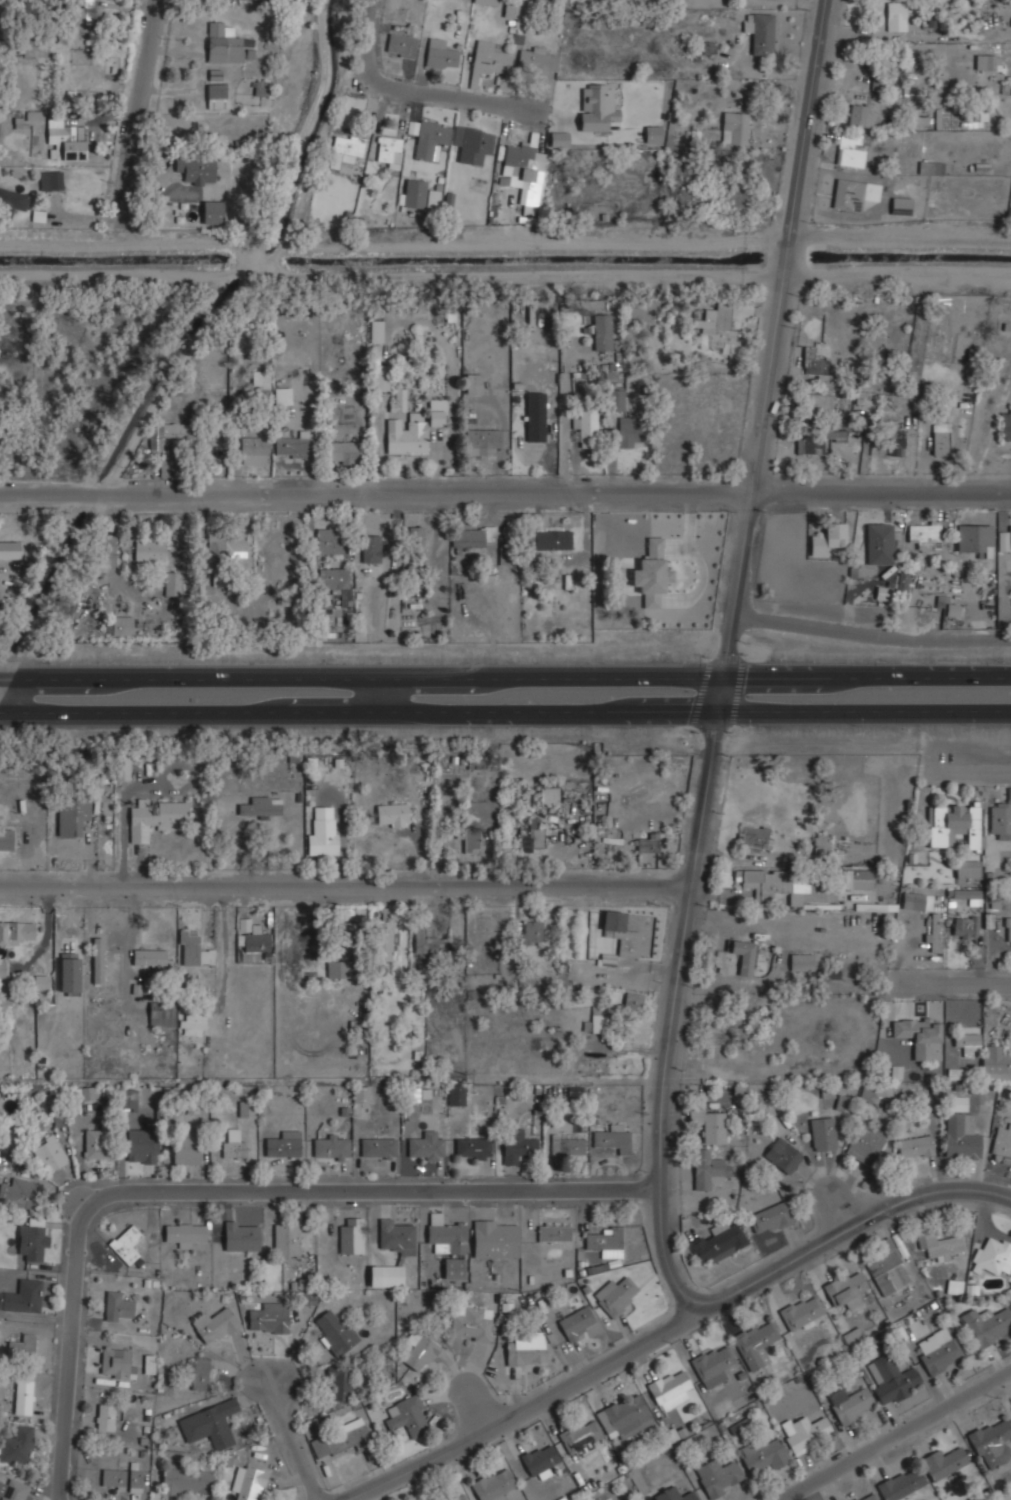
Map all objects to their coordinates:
building: (487, 1)
building: (509, 8)
building: (895, 15)
building: (79, 16)
building: (759, 31)
building: (225, 42)
building: (401, 44)
building: (440, 53)
building: (490, 58)
building: (537, 60)
building: (987, 61)
building: (260, 87)
road: (409, 90)
building: (216, 94)
building: (596, 106)
road: (142, 110)
building: (859, 114)
building: (734, 126)
building: (412, 127)
building: (79, 133)
building: (653, 134)
building: (430, 137)
building: (559, 139)
building: (62, 140)
building: (470, 141)
building: (348, 146)
building: (850, 150)
building: (389, 151)
building: (522, 165)
building: (930, 167)
building: (195, 169)
building: (51, 179)
building: (412, 192)
building: (854, 193)
building: (431, 199)
building: (10, 201)
building: (901, 205)
building: (211, 211)
road: (88, 219)
building: (376, 331)
building: (602, 331)
building: (718, 333)
building: (816, 363)
building: (260, 379)
building: (381, 381)
building: (473, 382)
building: (282, 395)
building: (866, 397)
building: (398, 399)
building: (615, 399)
building: (816, 403)
building: (437, 411)
building: (535, 416)
building: (1005, 423)
building: (585, 428)
building: (171, 431)
building: (628, 431)
building: (408, 435)
road: (567, 437)
building: (895, 437)
building: (940, 437)
building: (481, 439)
building: (814, 441)
building: (292, 446)
building: (254, 450)
building: (344, 451)
building: (166, 464)
road: (505, 494)
building: (924, 533)
building: (415, 535)
building: (473, 536)
building: (974, 536)
building: (827, 537)
building: (328, 539)
building: (551, 539)
building: (1005, 540)
building: (226, 541)
building: (879, 542)
building: (370, 548)
building: (9, 549)
building: (148, 549)
building: (651, 572)
building: (333, 578)
building: (903, 581)
building: (173, 582)
building: (883, 592)
building: (952, 610)
building: (119, 624)
road: (870, 634)
road: (722, 660)
traffic signals: (720, 674)
road: (865, 674)
road: (360, 677)
road: (9, 694)
road: (380, 695)
road: (862, 711)
road: (356, 712)
traffic signals: (713, 712)
building: (124, 768)
road: (972, 768)
building: (441, 784)
building: (549, 792)
building: (259, 806)
building: (75, 808)
building: (171, 812)
building: (392, 814)
building: (1000, 818)
building: (953, 823)
building: (137, 826)
building: (322, 832)
building: (753, 837)
building: (6, 838)
building: (471, 839)
building: (530, 839)
building: (647, 843)
building: (821, 844)
building: (967, 868)
building: (857, 878)
building: (763, 881)
road: (345, 885)
building: (819, 892)
building: (967, 894)
building: (917, 900)
building: (965, 926)
building: (1008, 928)
building: (532, 931)
building: (17, 932)
building: (933, 933)
building: (621, 935)
building: (425, 938)
building: (250, 939)
building: (384, 940)
building: (192, 948)
building: (148, 956)
building: (735, 957)
building: (97, 960)
building: (606, 960)
building: (801, 961)
building: (2, 966)
building: (336, 968)
building: (69, 971)
road: (955, 985)
building: (143, 986)
building: (632, 1000)
building: (160, 1013)
building: (596, 1020)
building: (753, 1023)
building: (191, 1024)
building: (915, 1030)
building: (715, 1031)
building: (966, 1038)
building: (995, 1061)
building: (903, 1067)
power tower: (460, 1077)
power tower: (876, 1078)
building: (876, 1090)
building: (85, 1093)
building: (360, 1093)
building: (455, 1093)
building: (127, 1100)
building: (842, 1103)
building: (245, 1107)
building: (708, 1123)
building: (822, 1132)
building: (960, 1136)
building: (613, 1137)
building: (1002, 1141)
building: (232, 1142)
building: (94, 1143)
building: (282, 1143)
building: (516, 1144)
building: (864, 1145)
building: (141, 1146)
building: (377, 1146)
building: (425, 1146)
building: (567, 1146)
building: (915, 1146)
building: (330, 1147)
building: (472, 1147)
building: (186, 1150)
building: (48, 1152)
building: (782, 1154)
building: (706, 1168)
road: (363, 1190)
building: (18, 1191)
building: (770, 1217)
building: (554, 1231)
building: (184, 1233)
building: (445, 1234)
building: (350, 1235)
building: (396, 1235)
building: (239, 1236)
building: (286, 1238)
building: (494, 1238)
building: (606, 1240)
building: (32, 1241)
building: (717, 1241)
building: (127, 1243)
building: (938, 1243)
building: (992, 1256)
building: (453, 1267)
building: (887, 1268)
building: (385, 1274)
building: (954, 1285)
building: (846, 1288)
building: (22, 1295)
building: (615, 1295)
building: (309, 1298)
building: (117, 1305)
building: (801, 1311)
building: (268, 1317)
building: (470, 1322)
building: (577, 1323)
building: (214, 1324)
building: (987, 1324)
road: (674, 1327)
building: (334, 1332)
building: (754, 1343)
building: (27, 1346)
building: (938, 1351)
building: (525, 1352)
building: (420, 1353)
building: (711, 1361)
building: (116, 1362)
road: (68, 1364)
building: (198, 1373)
building: (891, 1378)
building: (338, 1383)
building: (669, 1388)
building: (23, 1397)
building: (849, 1404)
building: (406, 1414)
building: (624, 1415)
building: (104, 1416)
building: (210, 1423)
building: (804, 1431)
building: (580, 1435)
road: (899, 1436)
building: (341, 1437)
road: (291, 1439)
building: (992, 1441)
building: (17, 1444)
building: (764, 1452)
building: (538, 1459)
building: (943, 1462)
building: (717, 1476)
building: (123, 1479)
building: (186, 1480)
building: (250, 1483)
building: (492, 1484)
building: (900, 1484)
building: (13, 1489)
building: (675, 1494)
building: (865, 1496)
building: (455, 1497)

